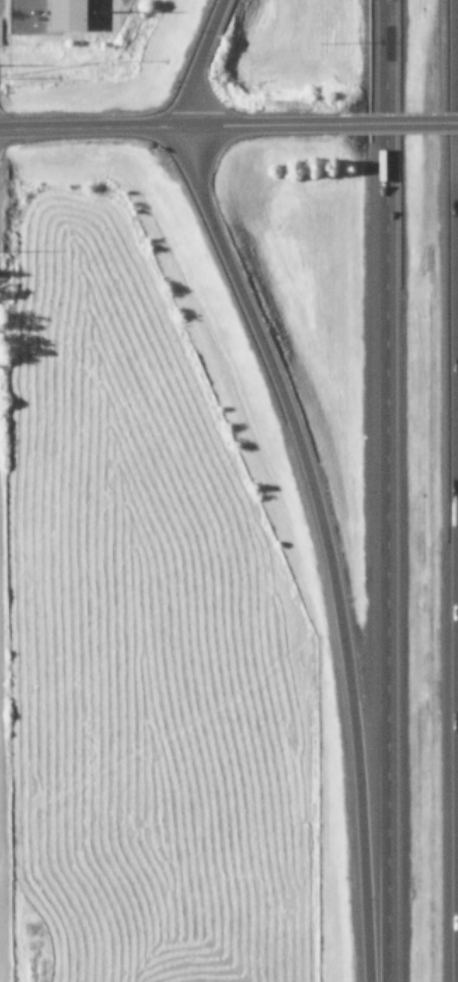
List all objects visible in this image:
building: (64, 15)
road: (198, 61)
road: (405, 123)
road: (271, 125)
road: (95, 127)
road: (383, 491)
road: (323, 544)

